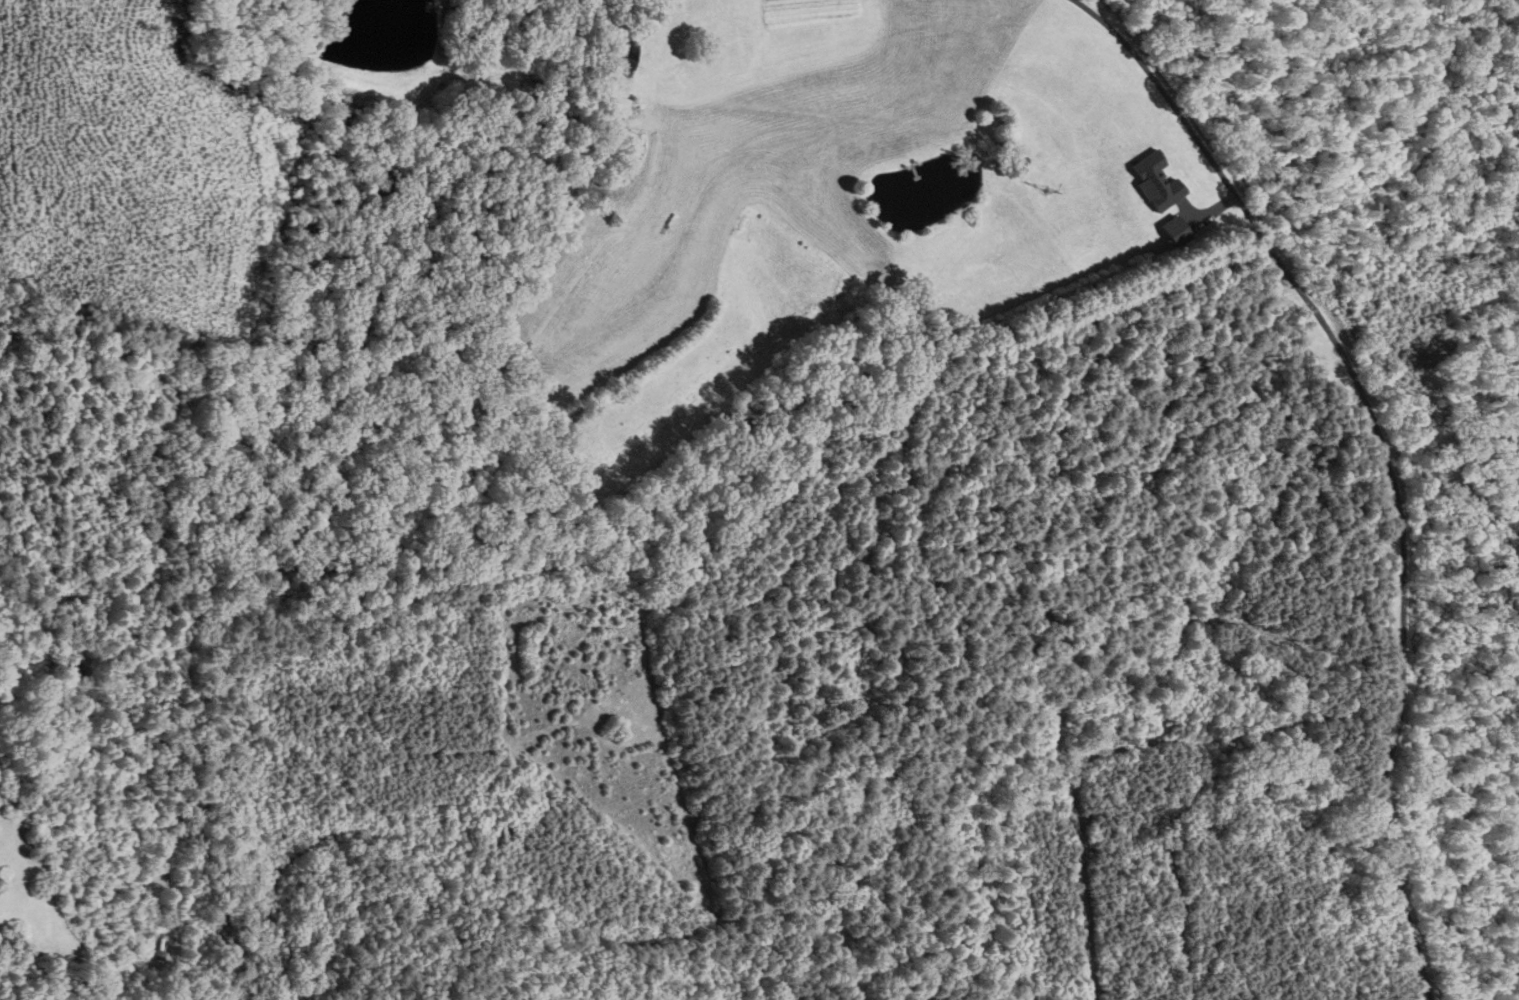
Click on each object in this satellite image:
building: (615, 69)
building: (612, 108)
building: (1169, 230)
road: (1383, 453)

